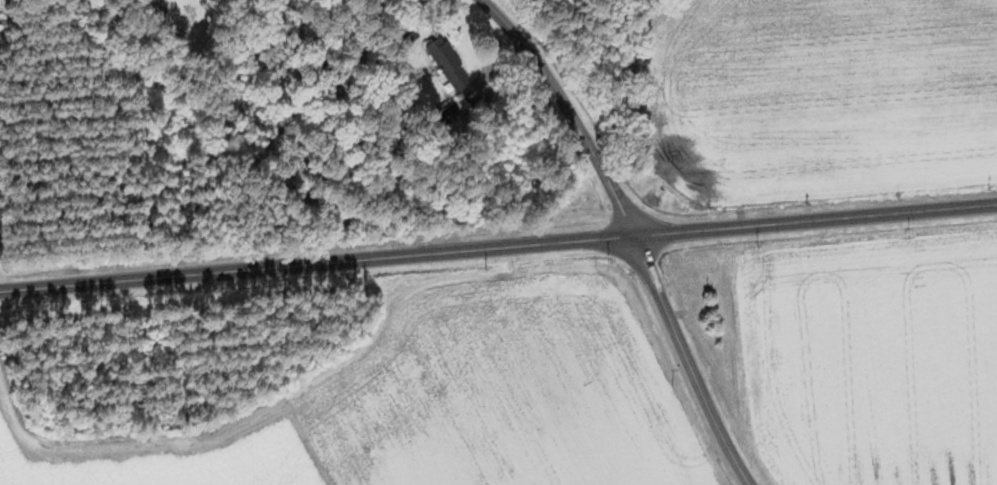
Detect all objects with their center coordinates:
road: (559, 112)
road: (498, 247)
road: (688, 362)

